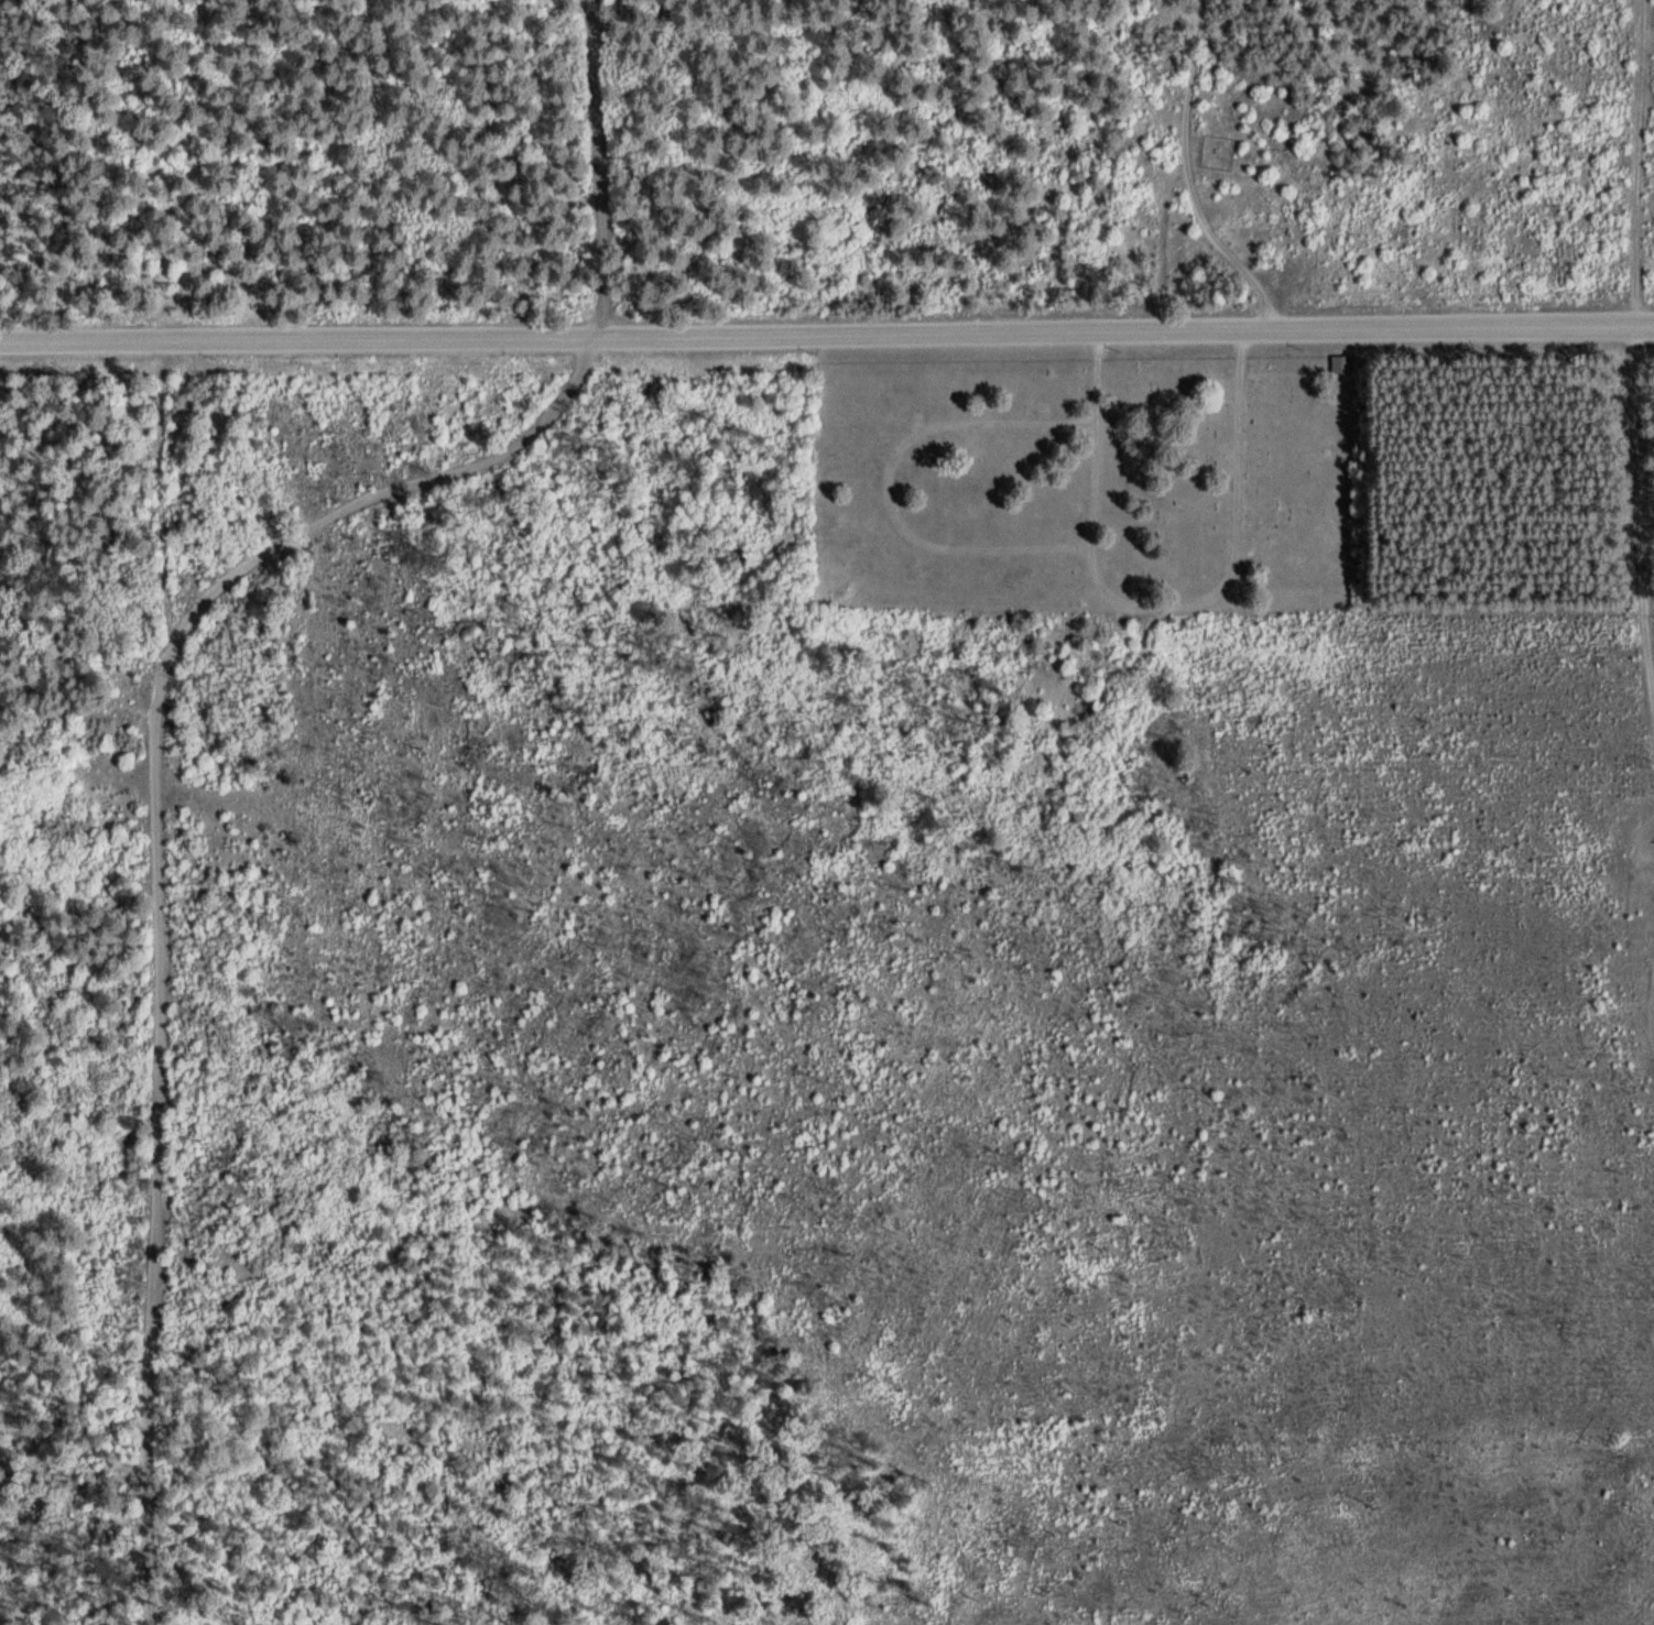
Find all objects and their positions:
road: (600, 172)
road: (1198, 178)
road: (827, 340)
road: (1633, 343)
building: (1340, 363)
park: (1087, 481)
road: (380, 495)
road: (160, 982)

